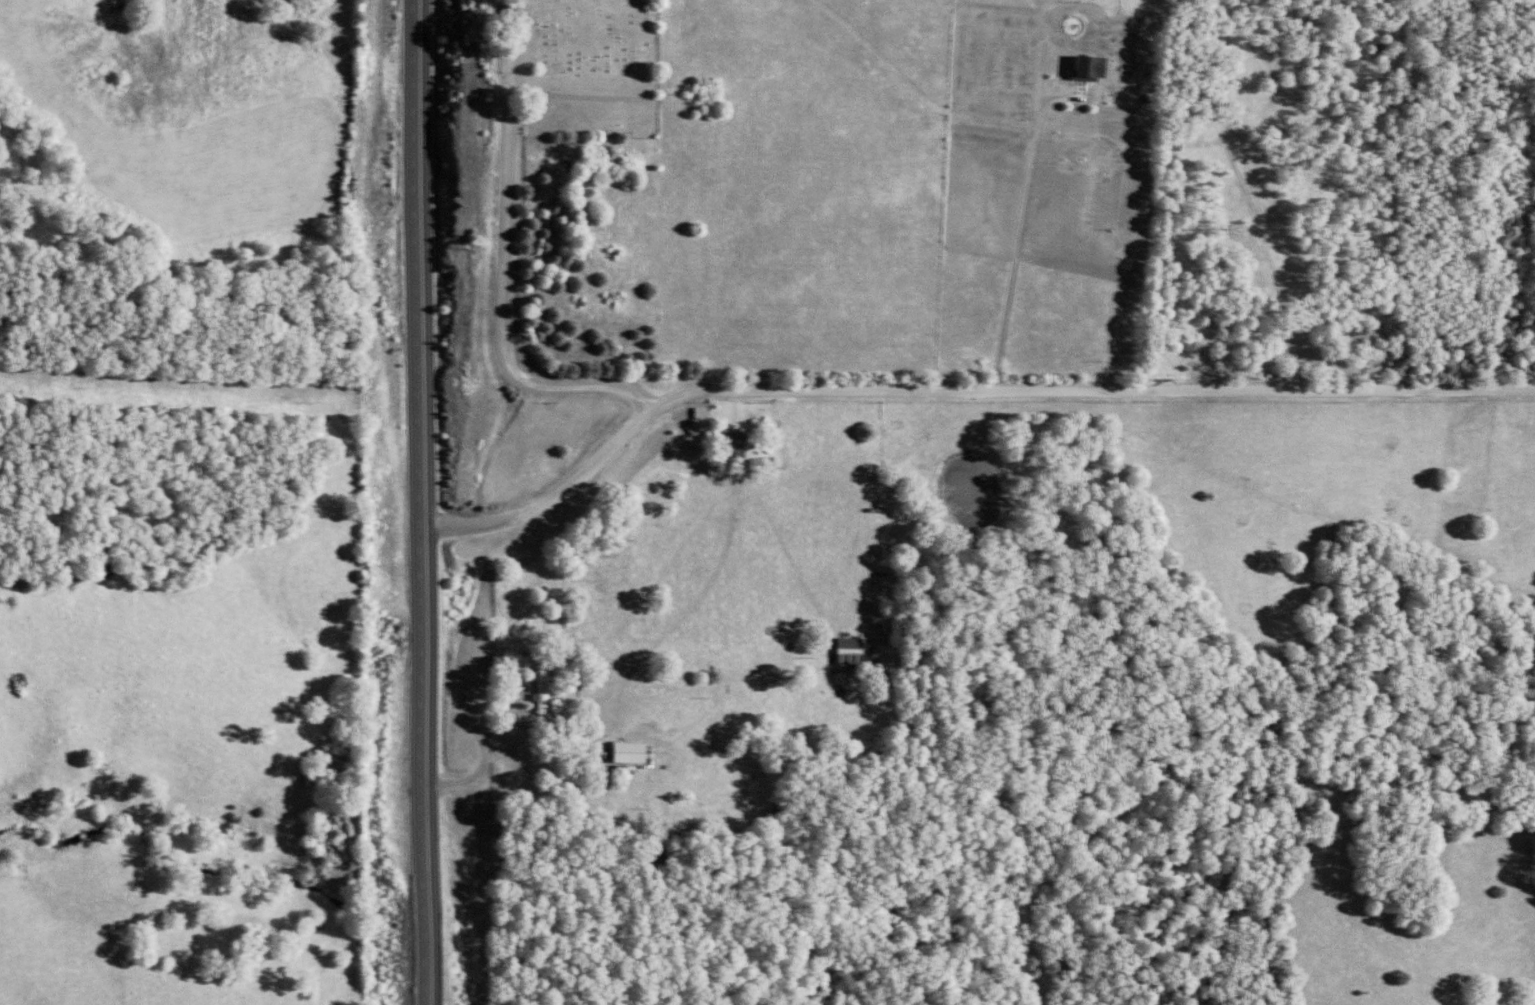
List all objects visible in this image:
building: (1093, 66)
park: (574, 70)
road: (956, 388)
building: (739, 439)
road: (422, 502)
building: (855, 650)
building: (549, 688)
building: (636, 751)

